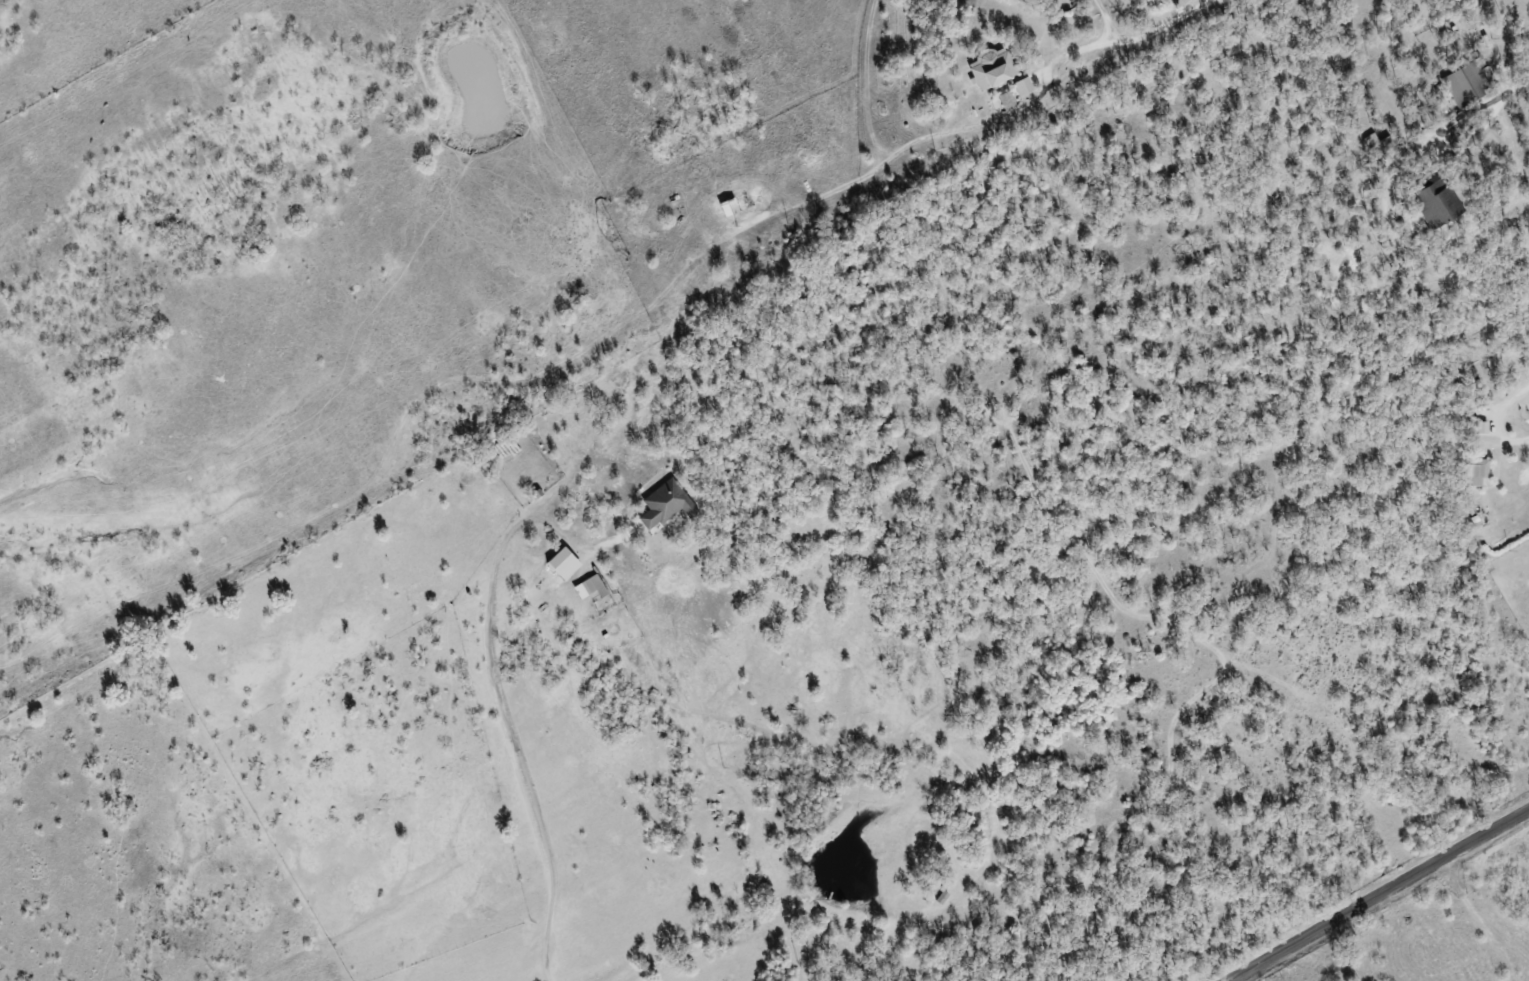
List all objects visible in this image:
road: (1103, 21)
road: (1125, 41)
building: (990, 68)
road: (1519, 78)
building: (1466, 83)
building: (1022, 87)
building: (1375, 144)
road: (1441, 145)
building: (1434, 204)
building: (728, 207)
road: (1490, 421)
building: (1480, 427)
building: (1471, 472)
building: (664, 505)
building: (562, 564)
building: (588, 588)
road: (503, 705)
road: (1377, 894)

